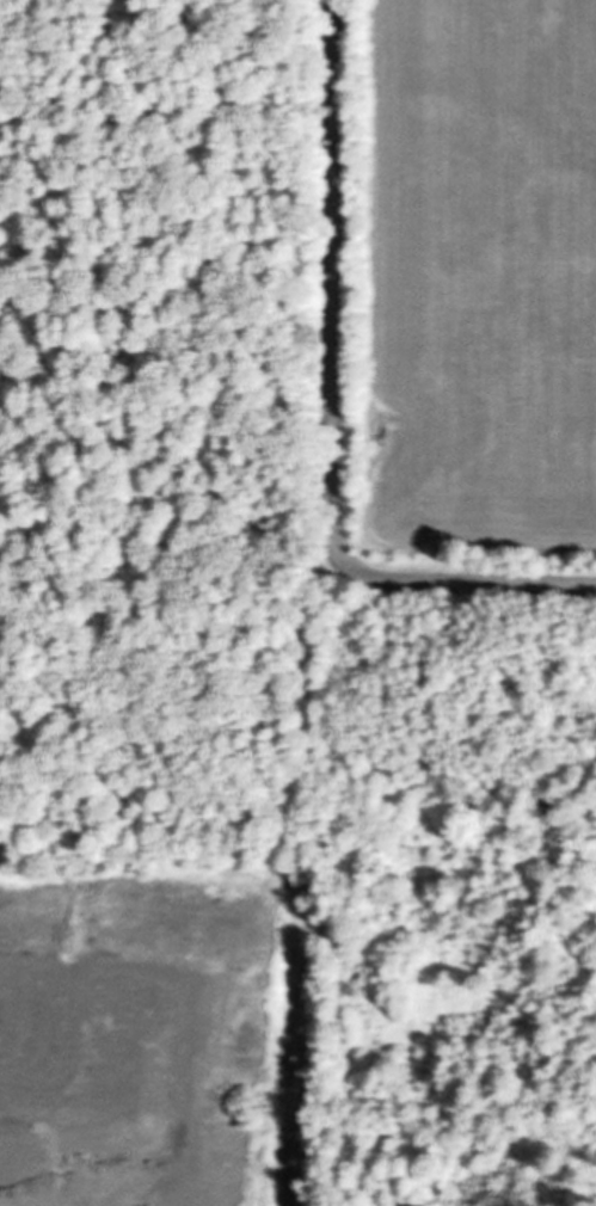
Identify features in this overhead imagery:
road: (332, 136)
road: (334, 548)
landfill: (164, 604)
road: (266, 819)

